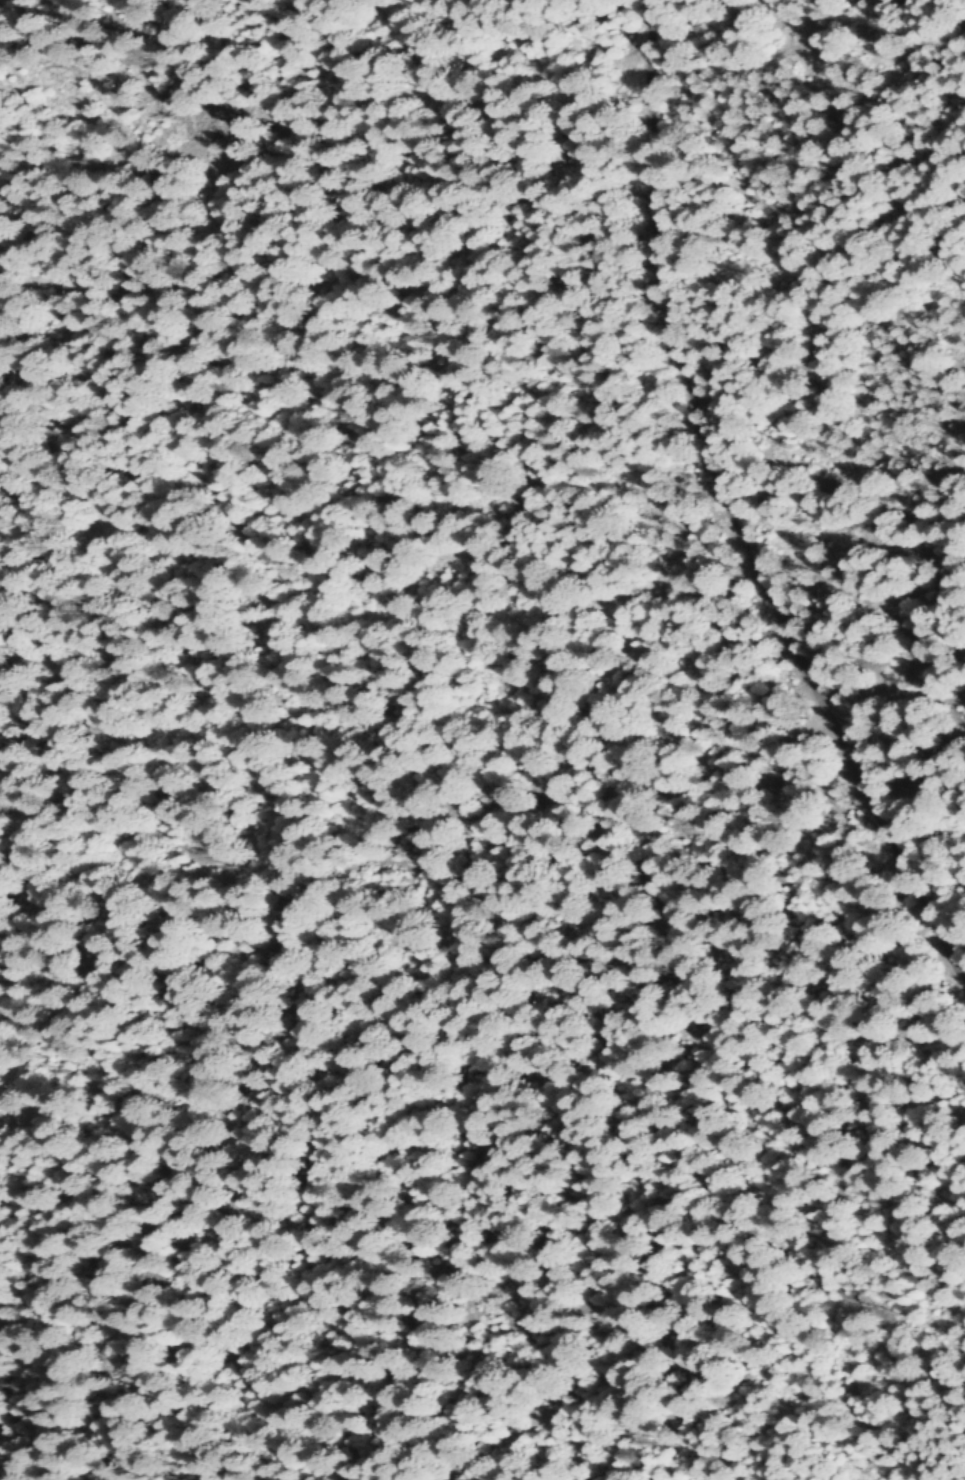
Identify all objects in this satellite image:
road: (733, 515)
road: (55, 1372)

